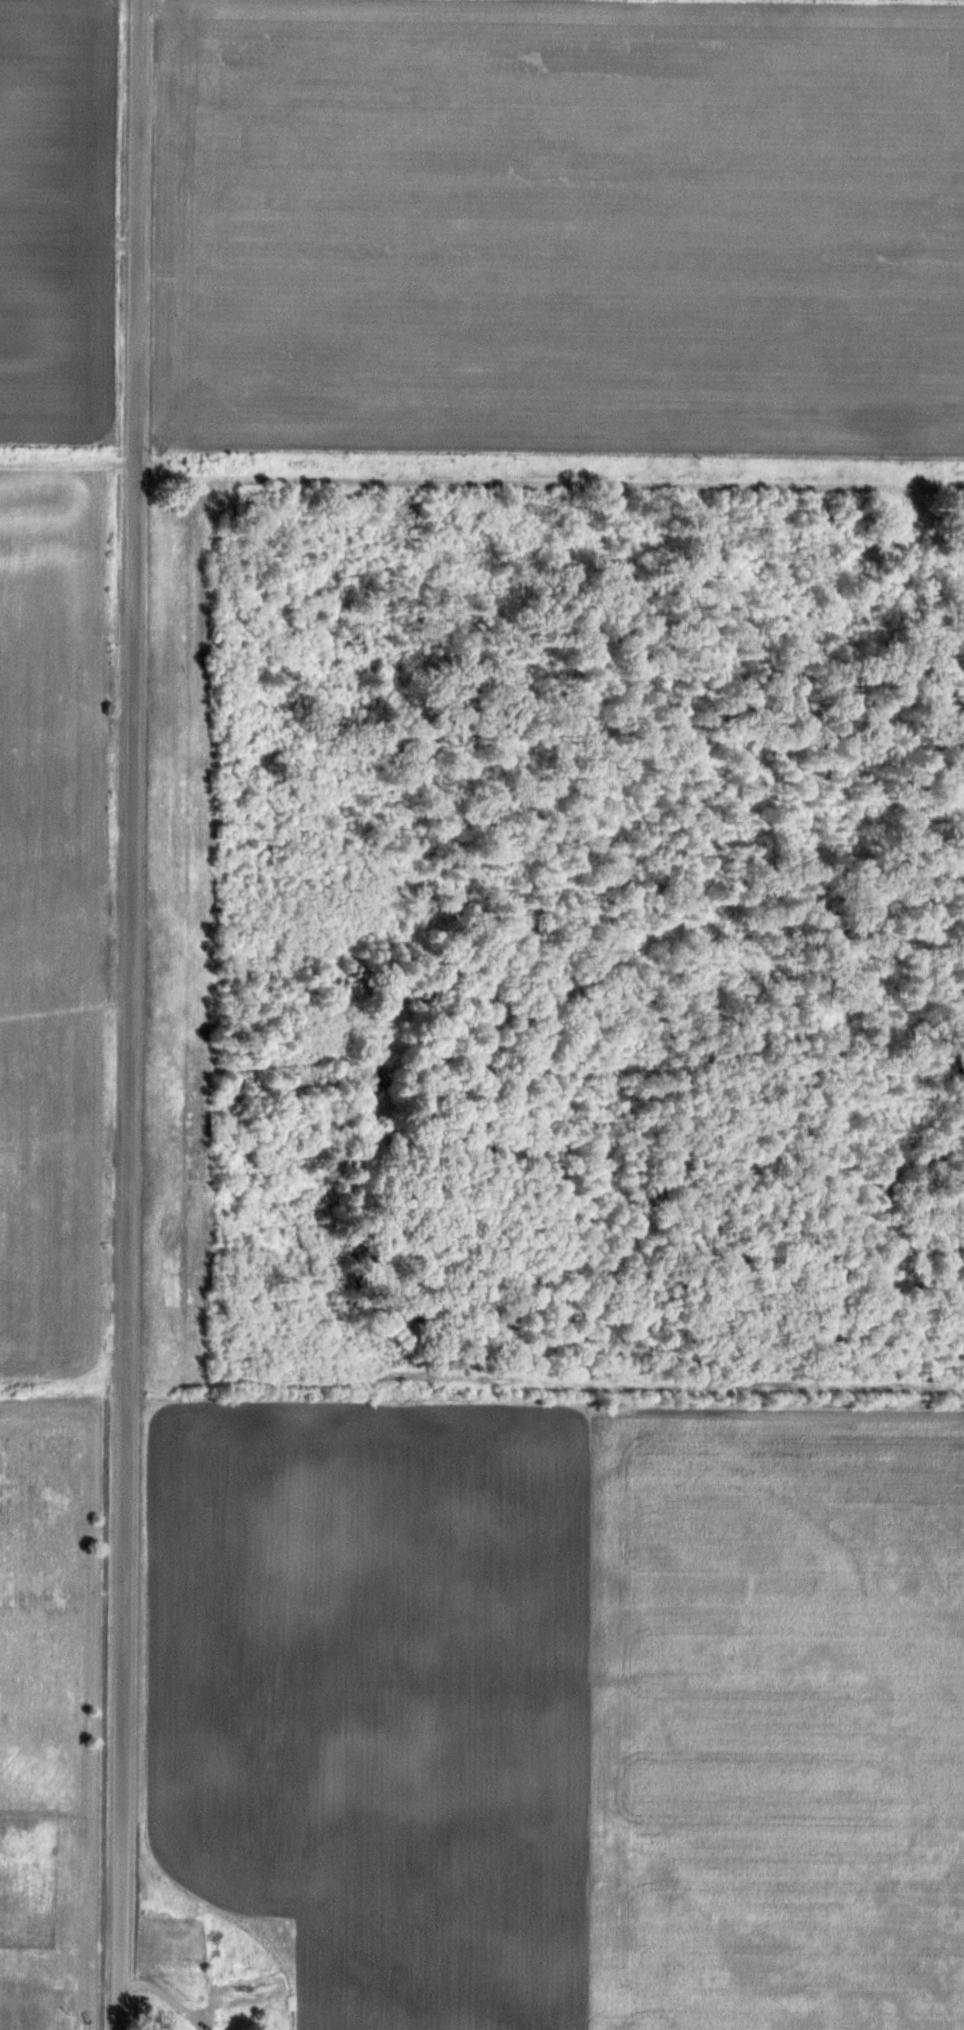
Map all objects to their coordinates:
road: (137, 1015)

